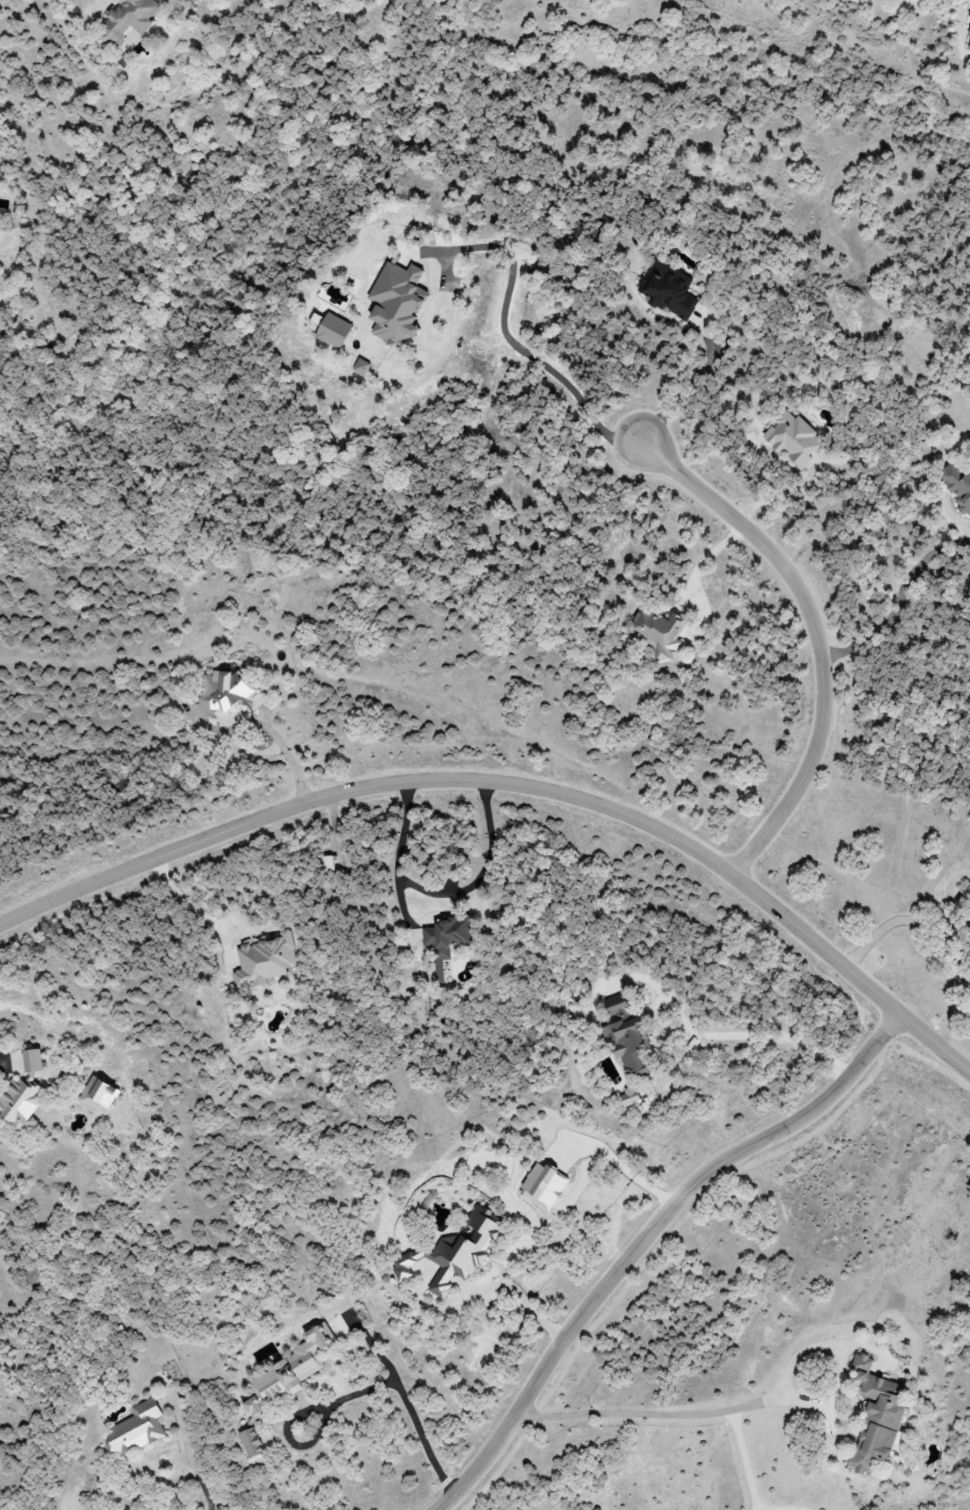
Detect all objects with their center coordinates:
building: (128, 21)
building: (968, 30)
building: (969, 47)
building: (1, 181)
building: (667, 290)
building: (396, 303)
building: (332, 330)
road: (525, 347)
building: (361, 367)
road: (688, 384)
building: (793, 438)
building: (957, 485)
road: (781, 492)
road: (701, 565)
road: (898, 602)
building: (658, 632)
road: (816, 639)
building: (224, 691)
road: (287, 758)
road: (518, 783)
building: (329, 863)
road: (440, 895)
road: (179, 900)
road: (912, 922)
building: (445, 941)
building: (265, 960)
road: (739, 1032)
building: (626, 1035)
building: (32, 1060)
building: (98, 1093)
building: (630, 1096)
building: (20, 1100)
building: (544, 1186)
road: (644, 1237)
building: (455, 1251)
road: (513, 1295)
building: (289, 1370)
road: (406, 1406)
road: (743, 1406)
building: (875, 1416)
building: (136, 1429)
building: (251, 1442)
road: (744, 1460)
road: (202, 1484)
road: (778, 1509)

